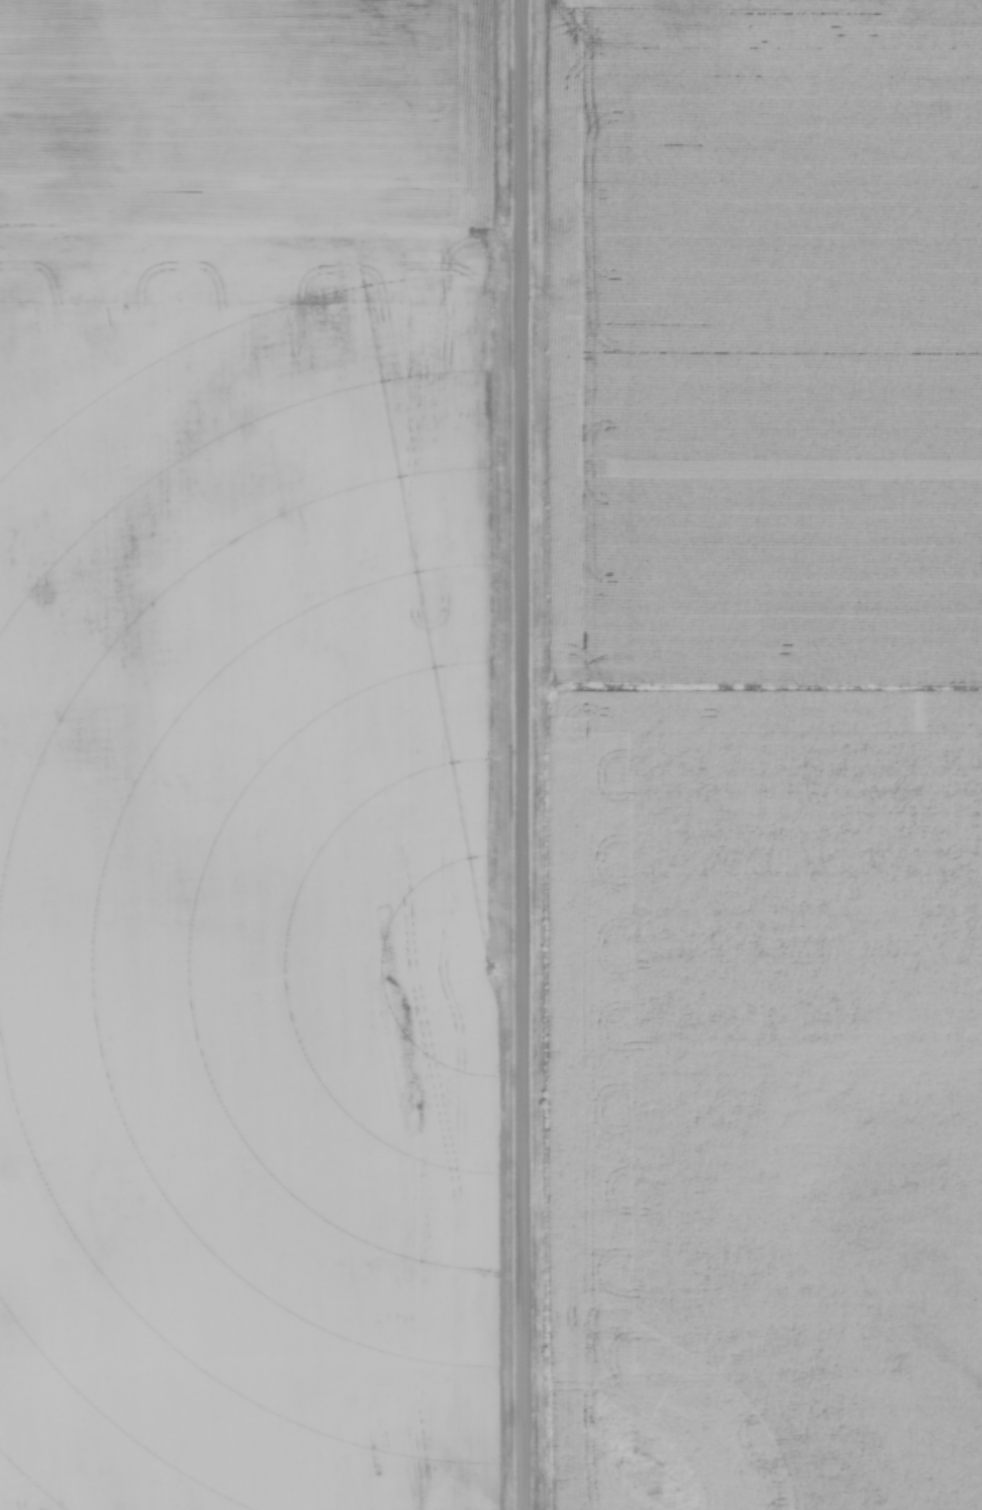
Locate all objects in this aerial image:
road: (517, 755)

